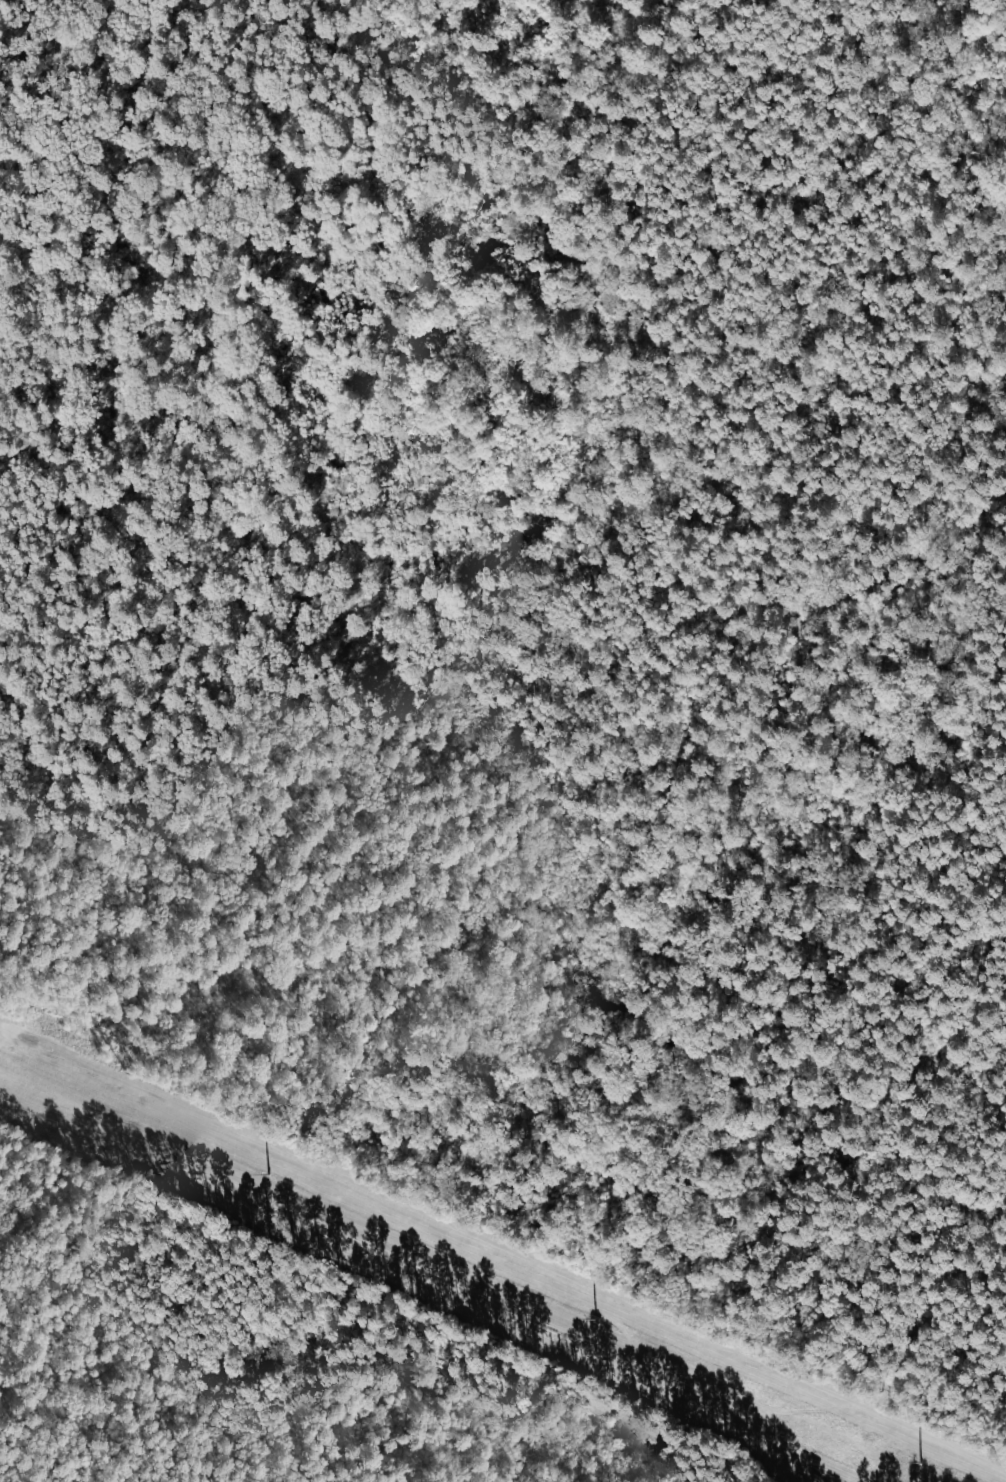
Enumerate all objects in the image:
power tower: (267, 1204)
power tower: (588, 1347)

